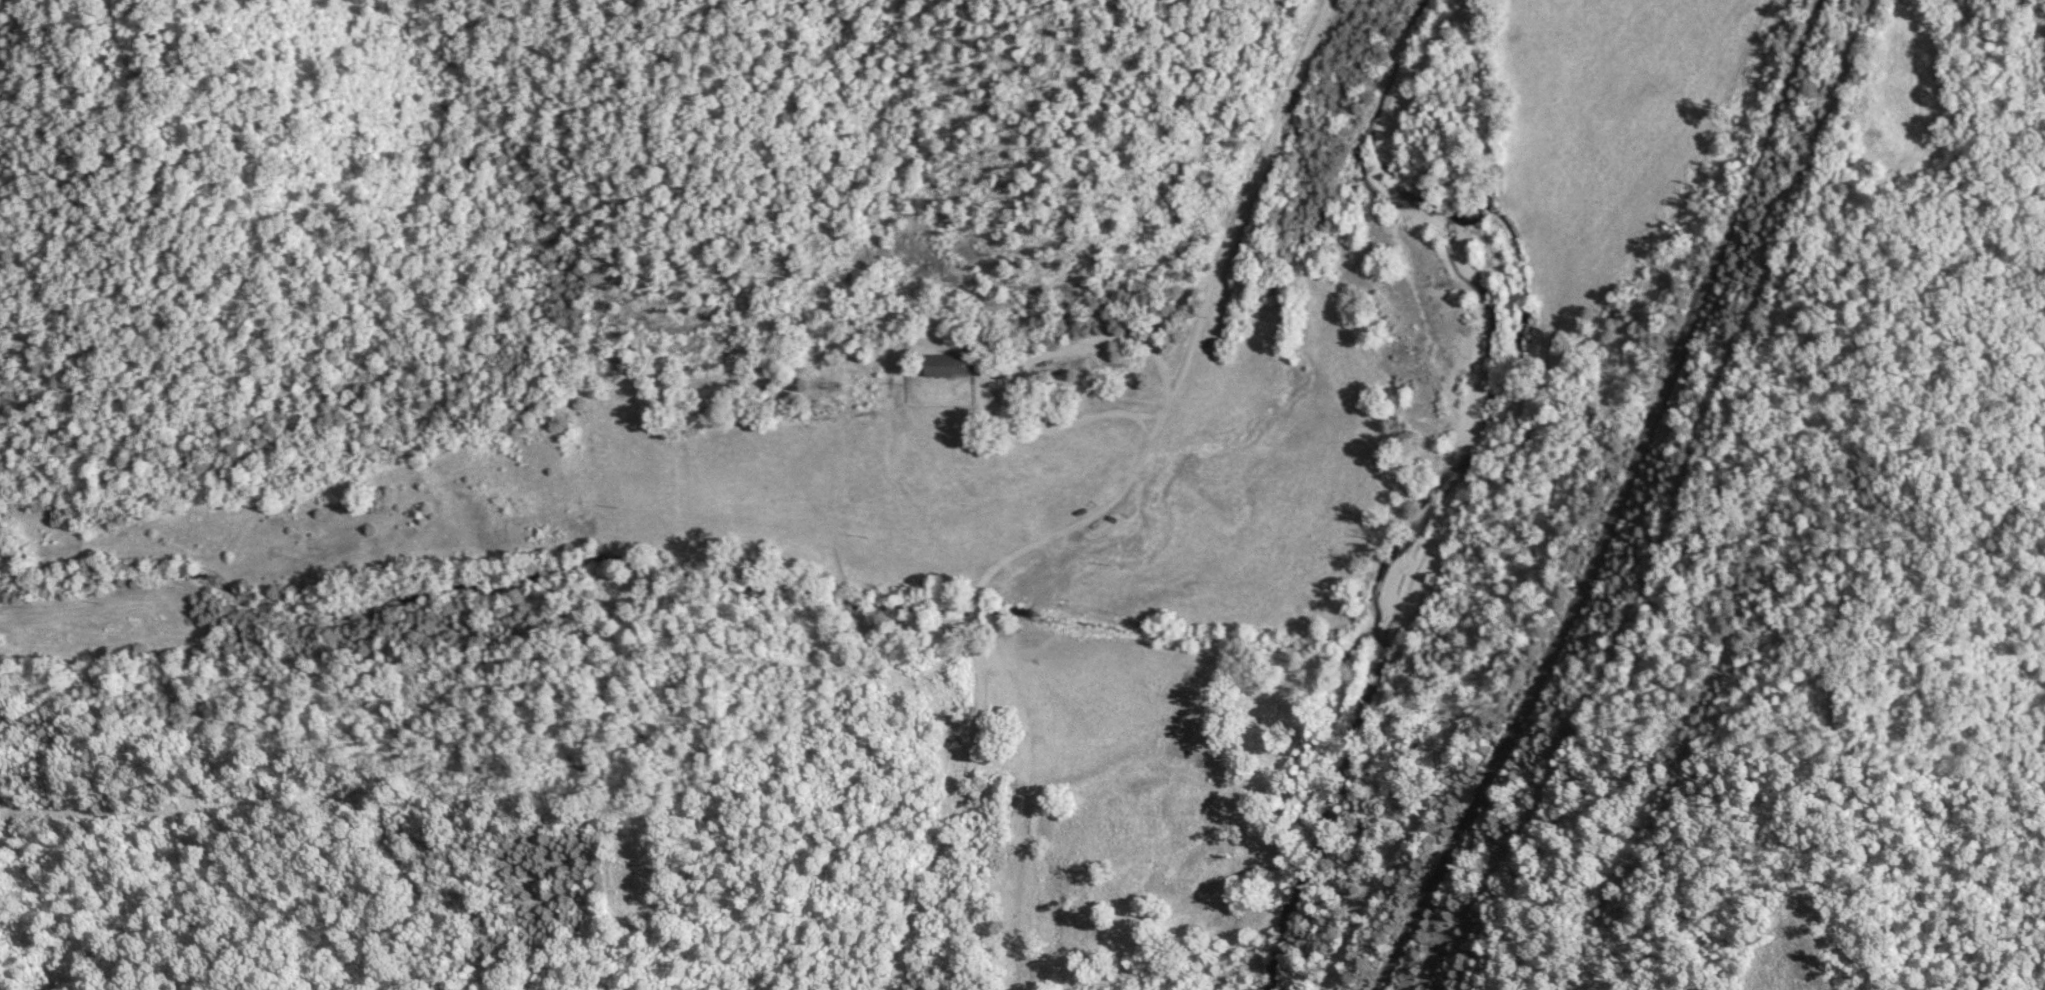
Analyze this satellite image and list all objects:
building: (949, 366)
road: (992, 378)
railway: (1619, 503)
road: (1101, 512)

